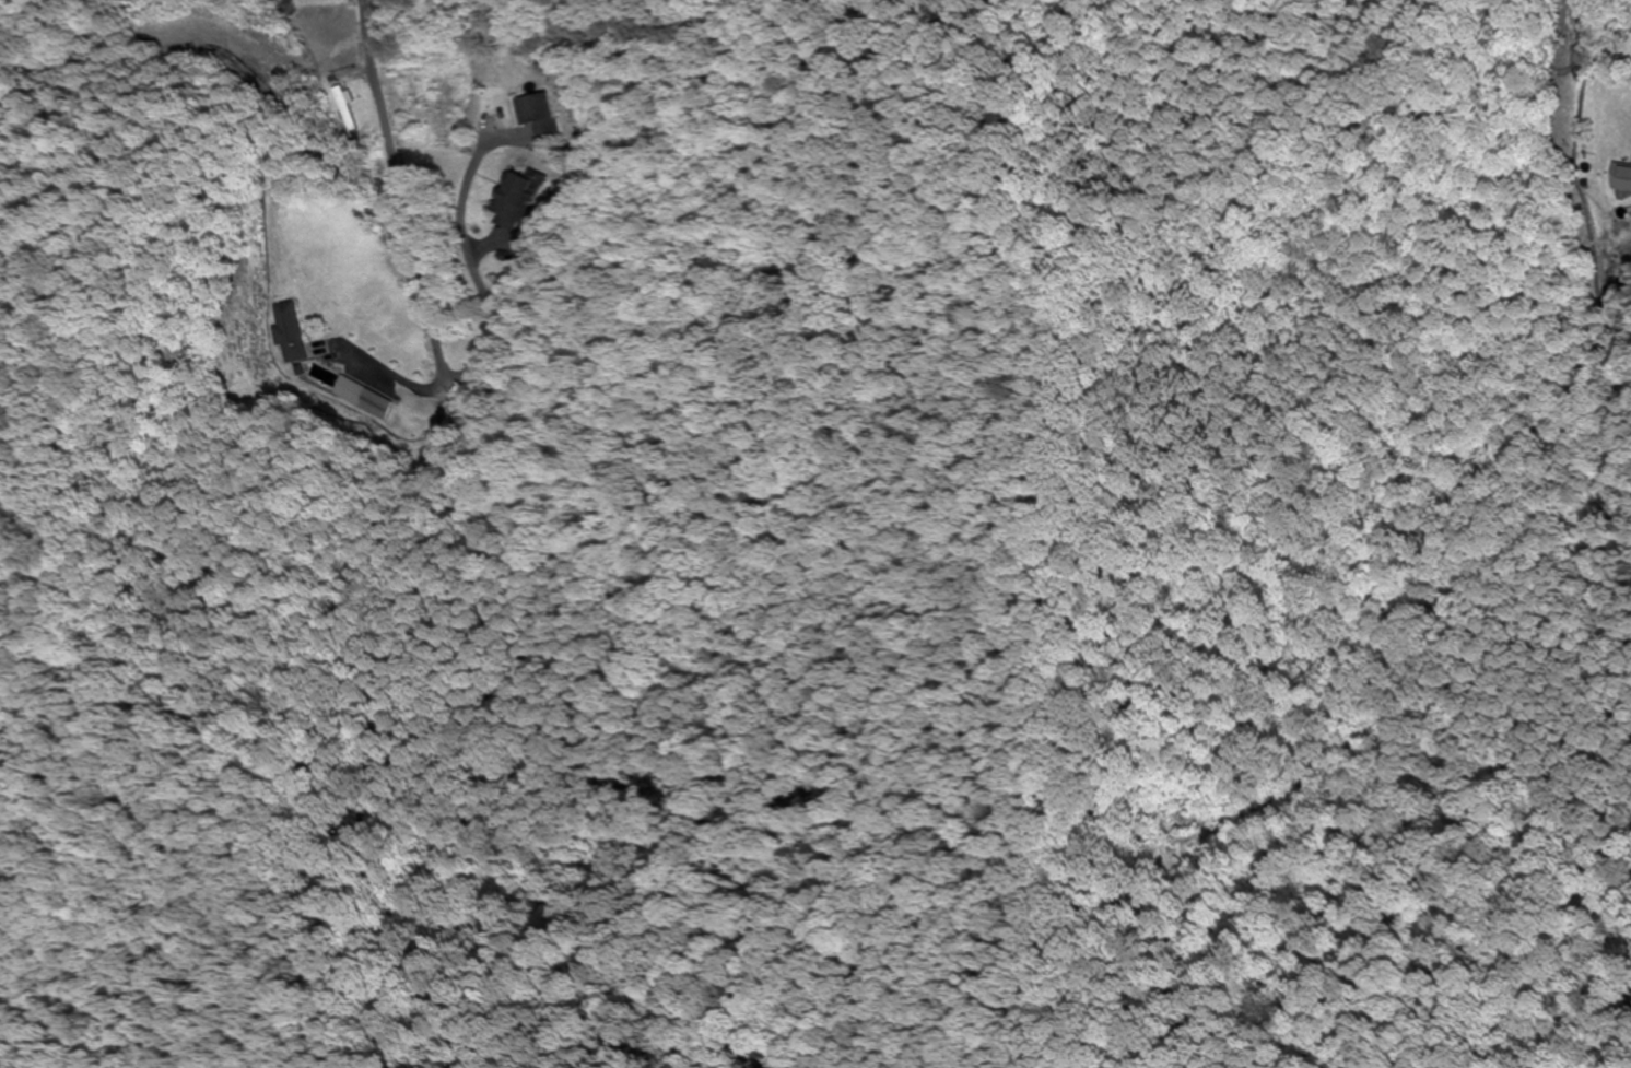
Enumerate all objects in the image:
building: (319, 43)
building: (344, 110)
building: (538, 116)
building: (1621, 179)
road: (398, 189)
building: (516, 200)
building: (289, 333)
building: (349, 390)

